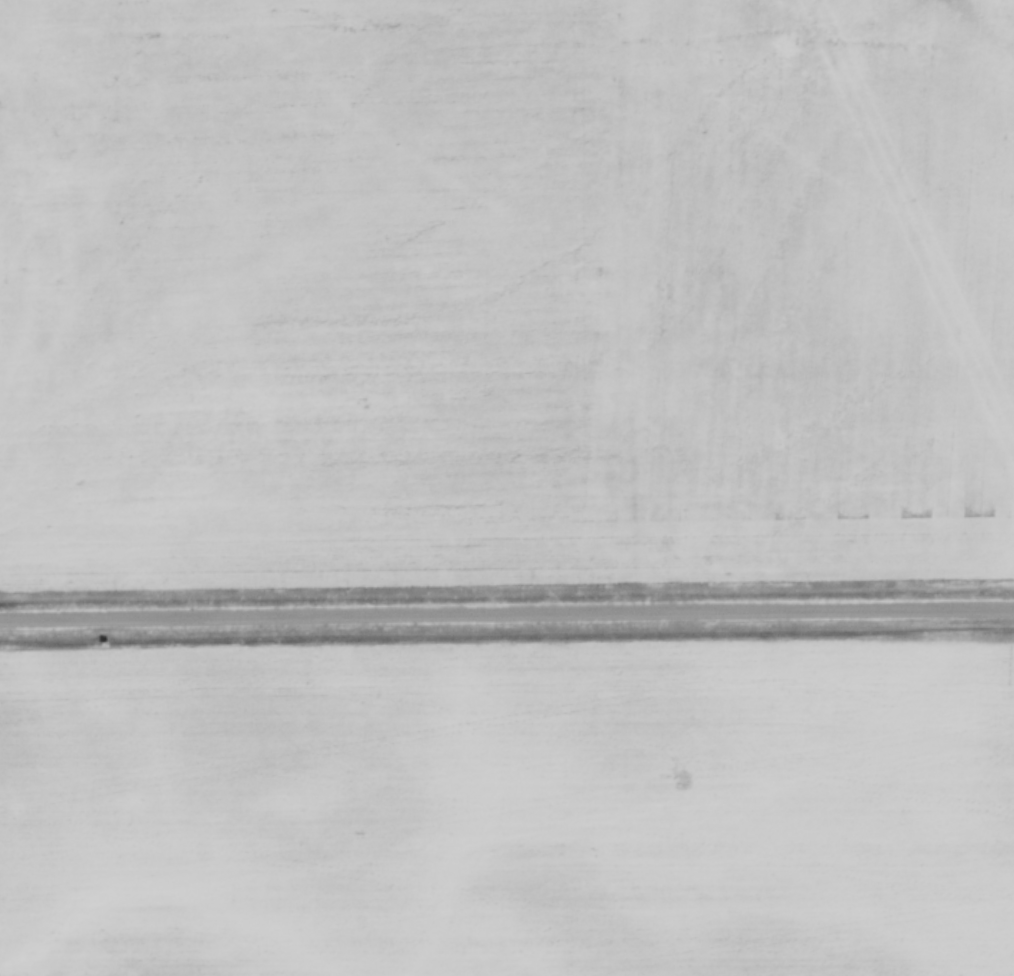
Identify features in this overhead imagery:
road: (507, 612)

